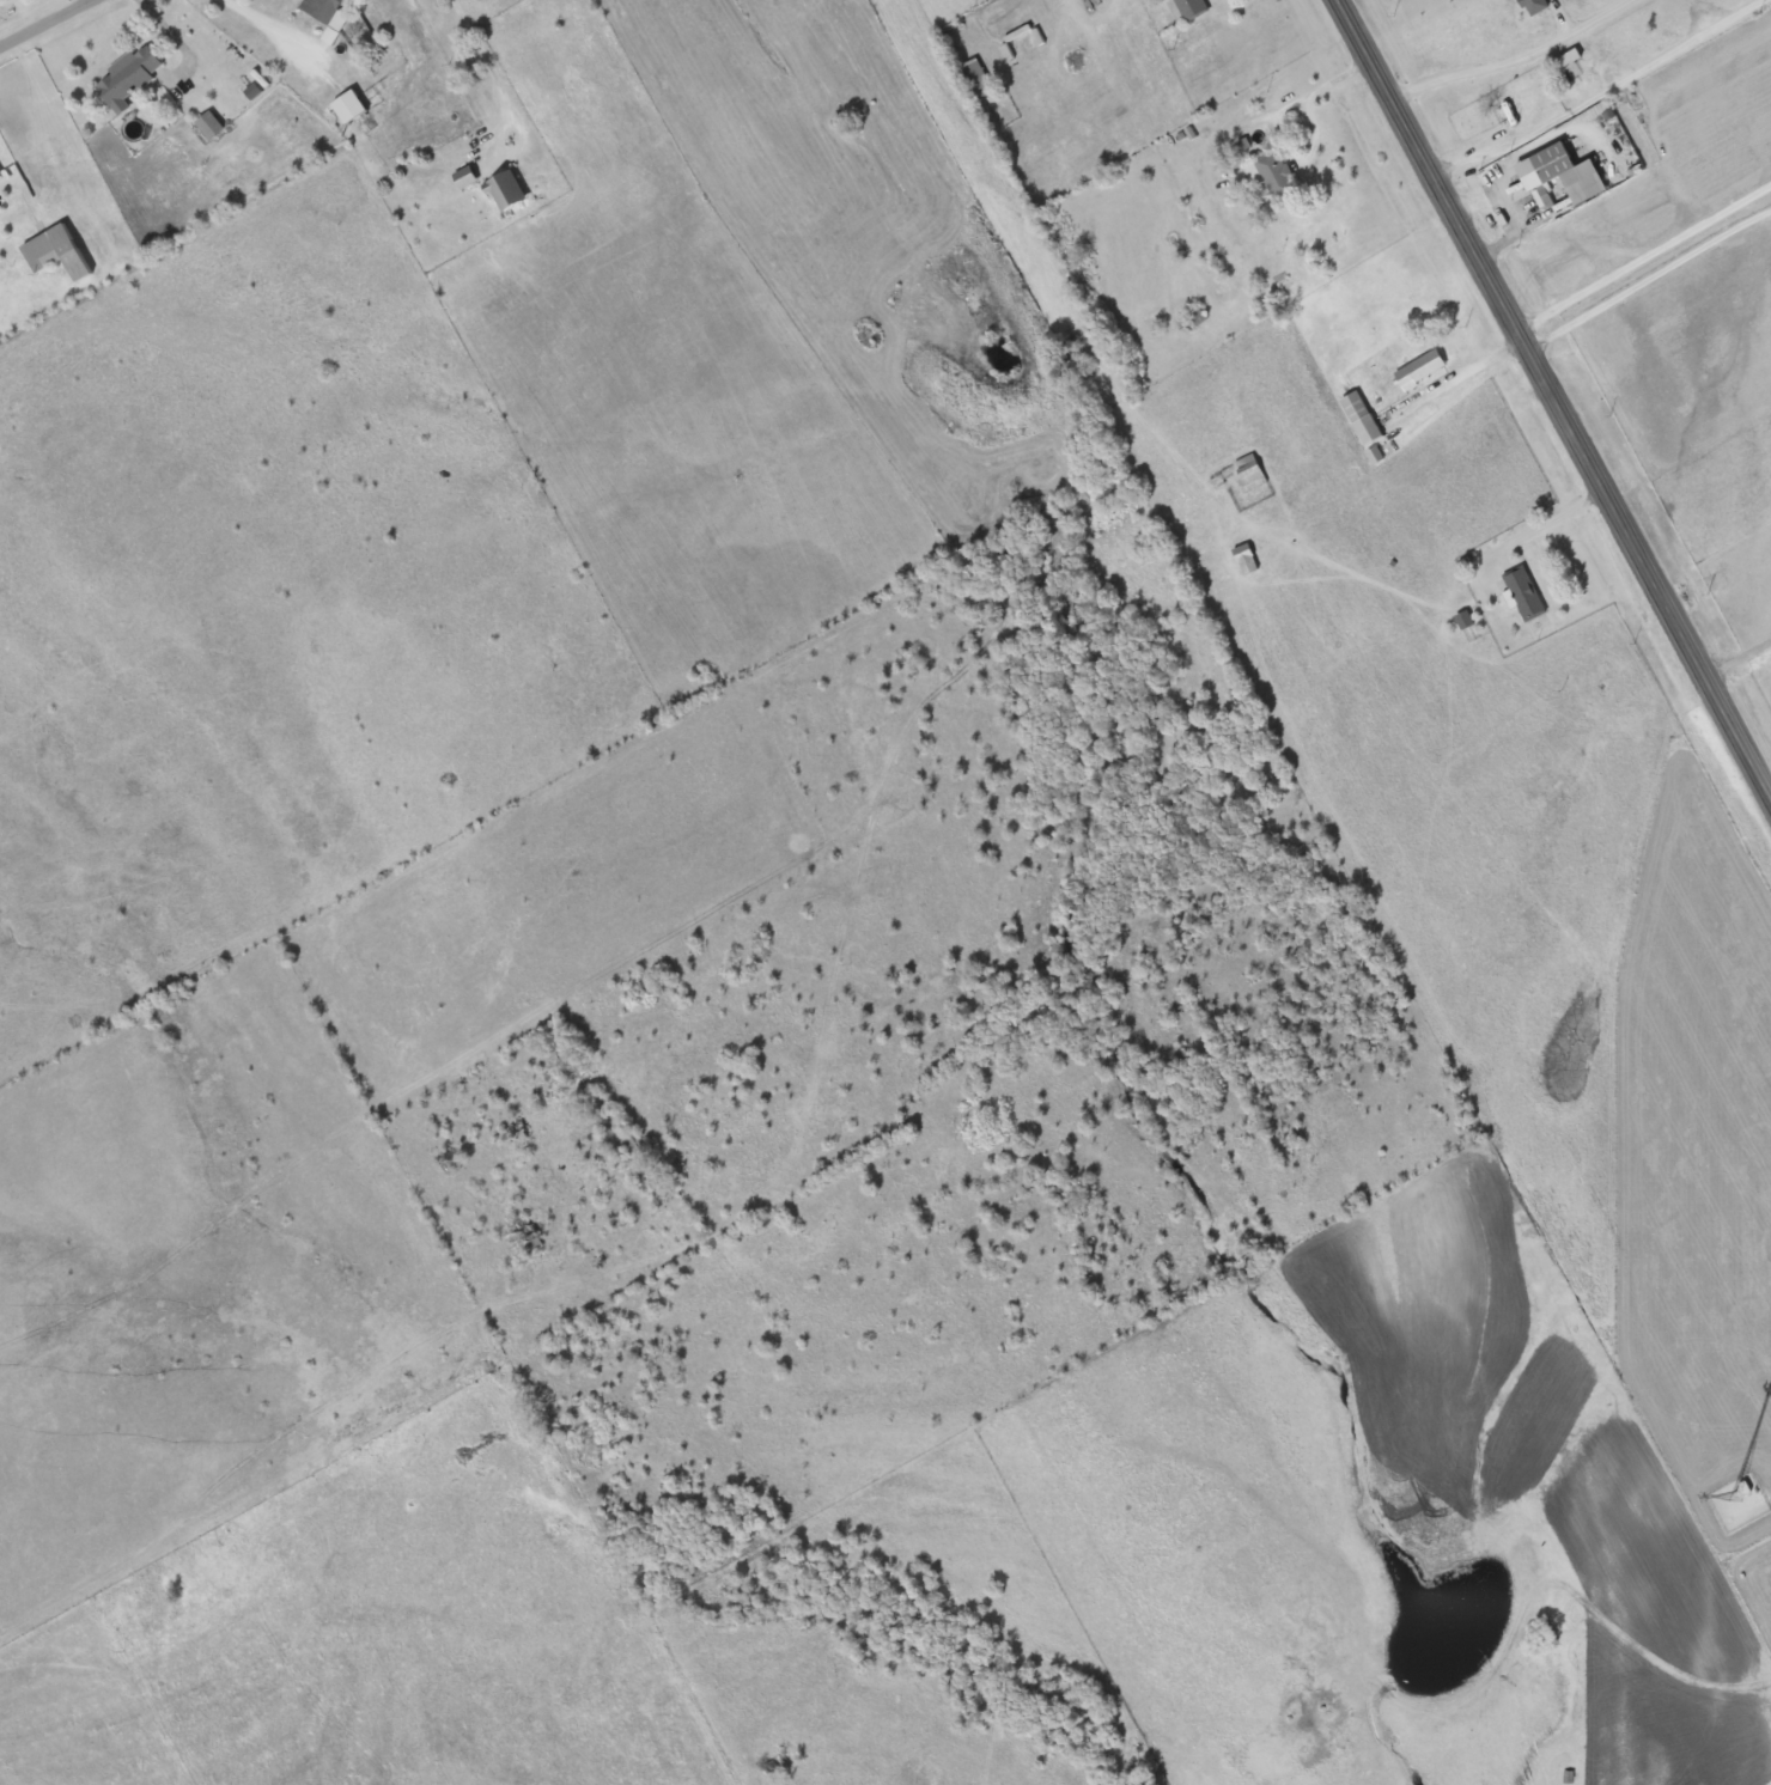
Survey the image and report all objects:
building: (1193, 8)
building: (325, 12)
road: (44, 23)
road: (486, 57)
building: (980, 78)
building: (130, 79)
building: (351, 108)
building: (211, 127)
building: (0, 176)
building: (467, 177)
building: (1274, 177)
building: (1569, 177)
building: (509, 191)
building: (57, 252)
building: (1423, 371)
road: (1558, 397)
building: (1363, 419)
building: (1250, 473)
building: (1247, 560)
building: (1527, 595)
road: (1739, 660)
building: (572, 1068)
building: (527, 1238)

